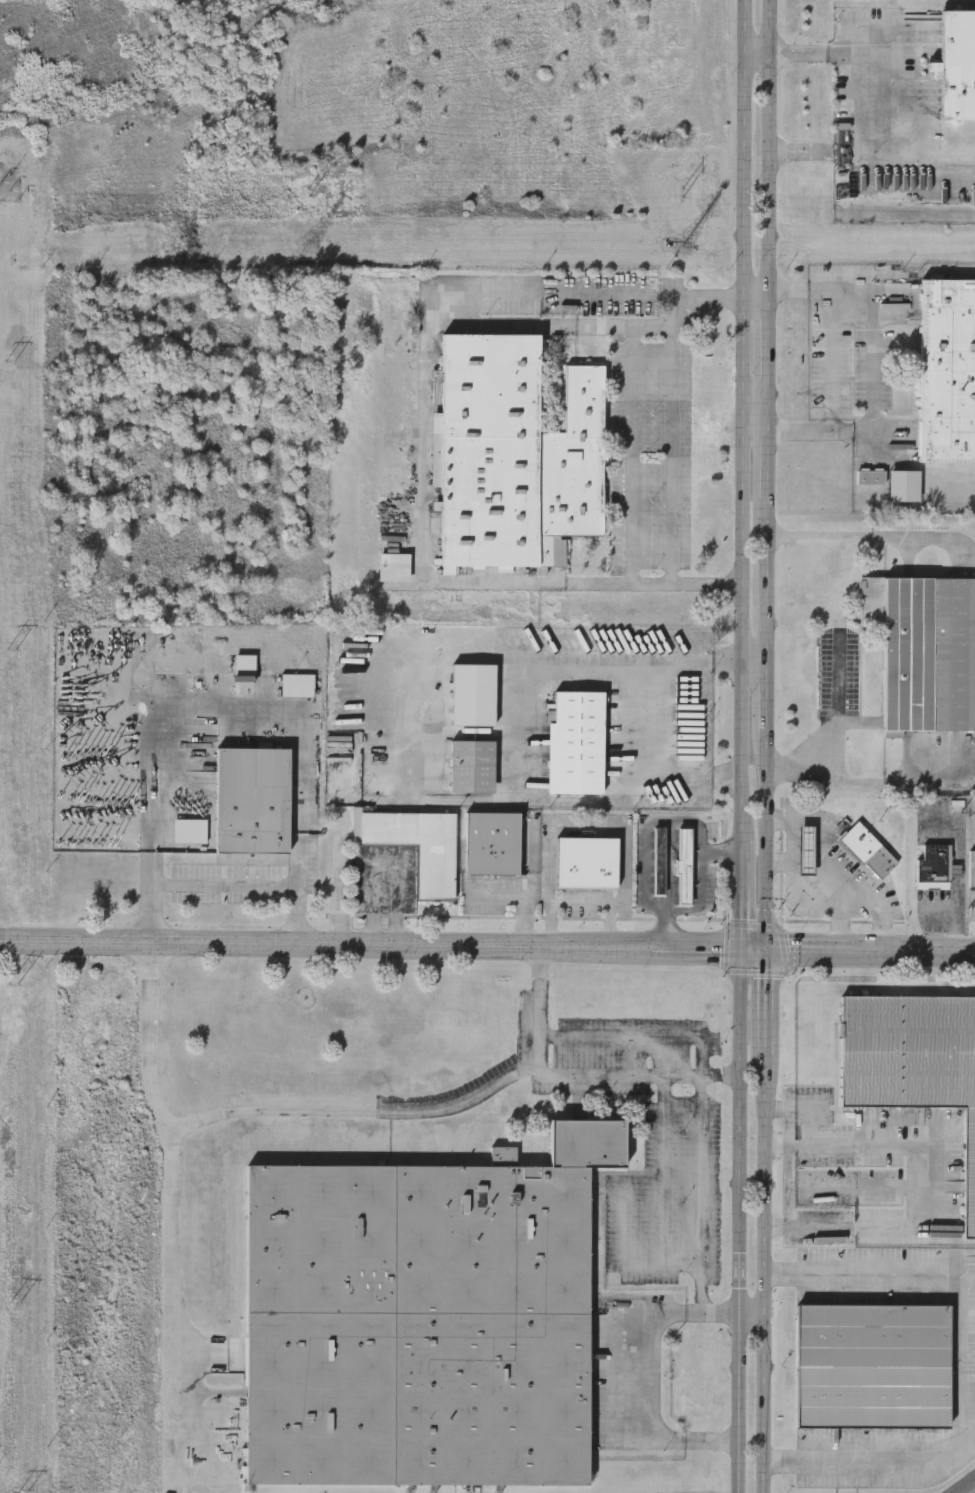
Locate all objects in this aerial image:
building: (957, 64)
road: (880, 86)
power tower: (11, 192)
power tower: (684, 196)
power tower: (310, 248)
power tower: (684, 249)
road: (574, 293)
road: (678, 294)
road: (872, 370)
building: (947, 370)
road: (756, 433)
road: (673, 437)
building: (514, 454)
road: (632, 454)
building: (871, 476)
building: (904, 486)
road: (871, 534)
building: (394, 565)
building: (924, 649)
road: (504, 658)
road: (755, 664)
building: (244, 671)
building: (297, 684)
building: (472, 695)
road: (845, 707)
road: (630, 714)
road: (300, 723)
building: (575, 742)
road: (744, 746)
road: (763, 746)
building: (472, 766)
road: (687, 766)
road: (870, 777)
road: (462, 799)
building: (252, 800)
road: (519, 800)
road: (147, 808)
road: (589, 829)
building: (189, 830)
building: (491, 842)
road: (960, 843)
building: (866, 849)
road: (788, 856)
building: (586, 862)
building: (659, 862)
road: (388, 863)
building: (684, 866)
building: (932, 867)
building: (971, 869)
building: (435, 872)
road: (837, 874)
building: (817, 882)
road: (911, 885)
road: (224, 886)
road: (523, 895)
road: (701, 899)
road: (584, 900)
road: (954, 911)
road: (843, 917)
road: (173, 944)
road: (660, 949)
traffic signals: (742, 950)
traffic signals: (761, 950)
road: (151, 962)
road: (540, 962)
road: (538, 1023)
road: (639, 1036)
building: (912, 1059)
road: (528, 1071)
road: (560, 1073)
road: (631, 1074)
road: (690, 1075)
road: (732, 1075)
road: (793, 1108)
road: (270, 1111)
road: (911, 1143)
road: (788, 1167)
road: (702, 1174)
road: (659, 1190)
road: (808, 1227)
road: (172, 1276)
road: (704, 1302)
road: (697, 1310)
road: (665, 1311)
road: (723, 1311)
road: (753, 1312)
building: (425, 1319)
road: (959, 1364)
building: (872, 1367)
road: (641, 1396)
road: (712, 1439)
railway: (962, 1484)

